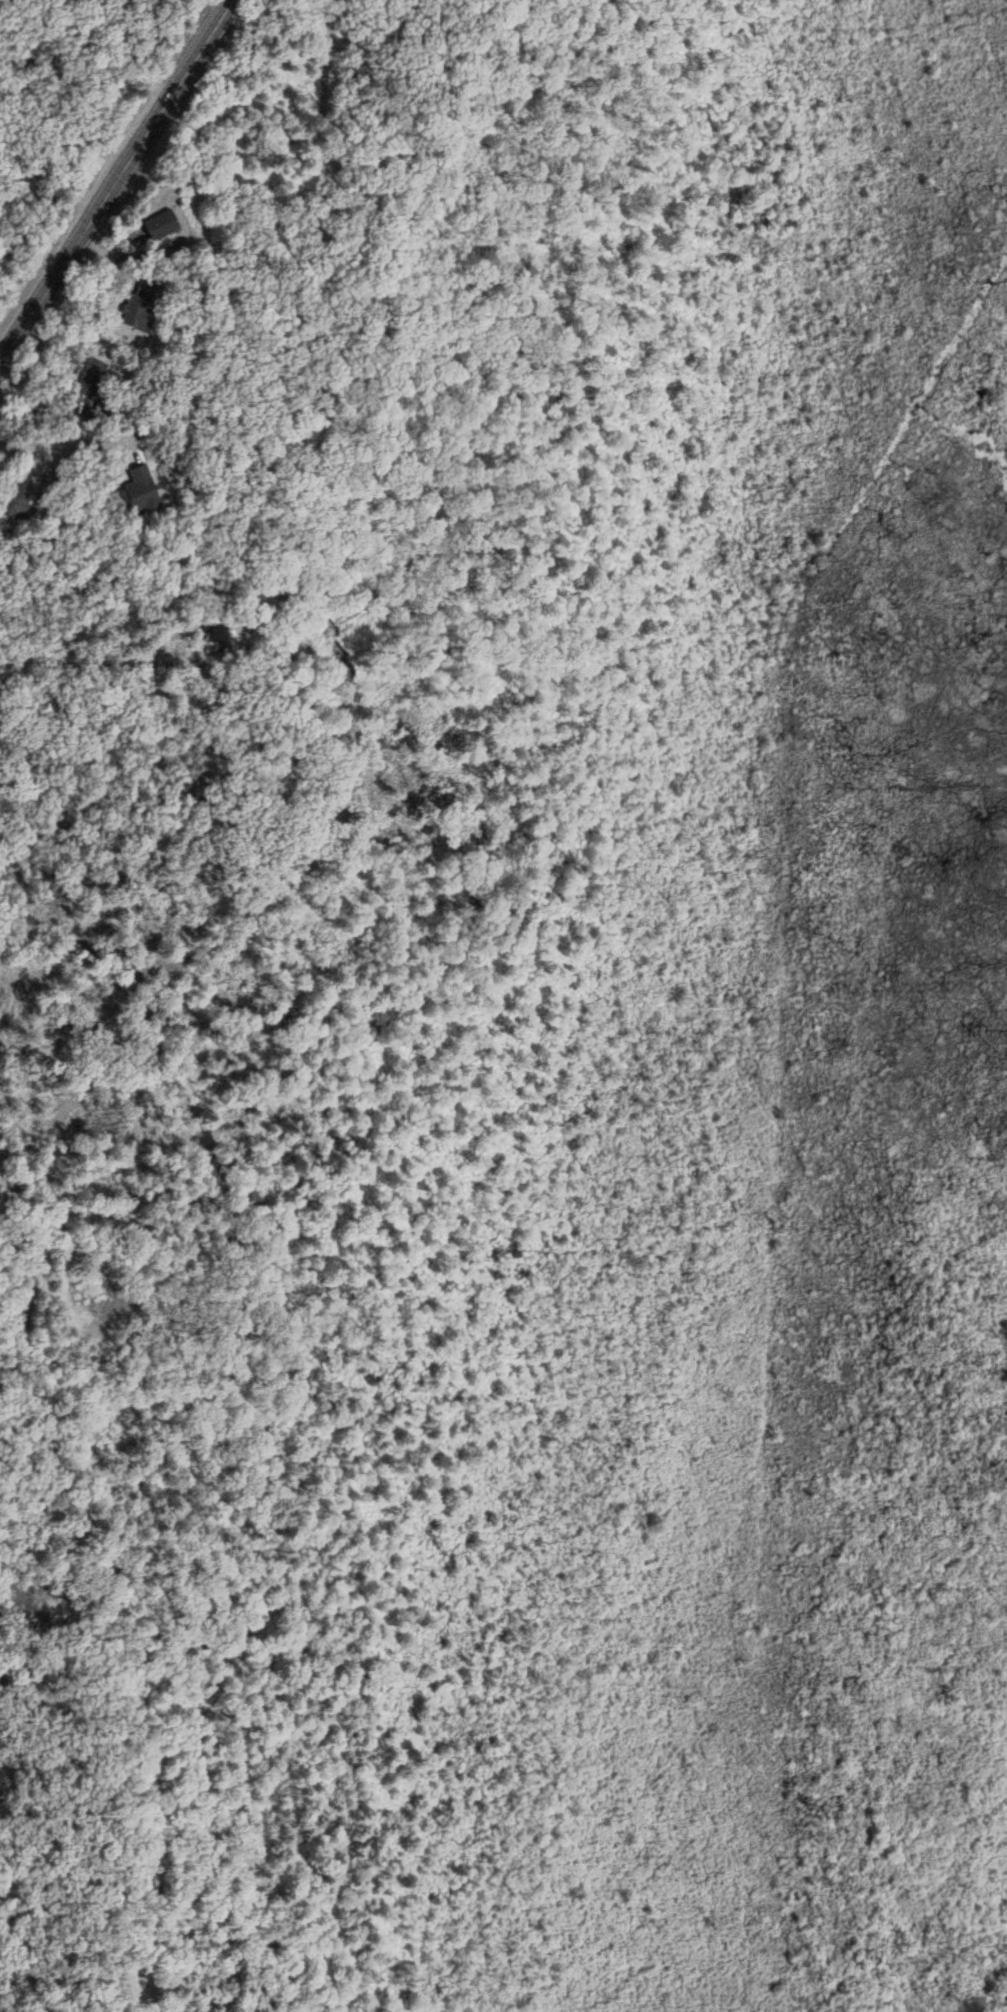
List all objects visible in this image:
road: (114, 179)
building: (155, 225)
road: (24, 268)
building: (133, 311)
building: (91, 374)
building: (138, 495)

